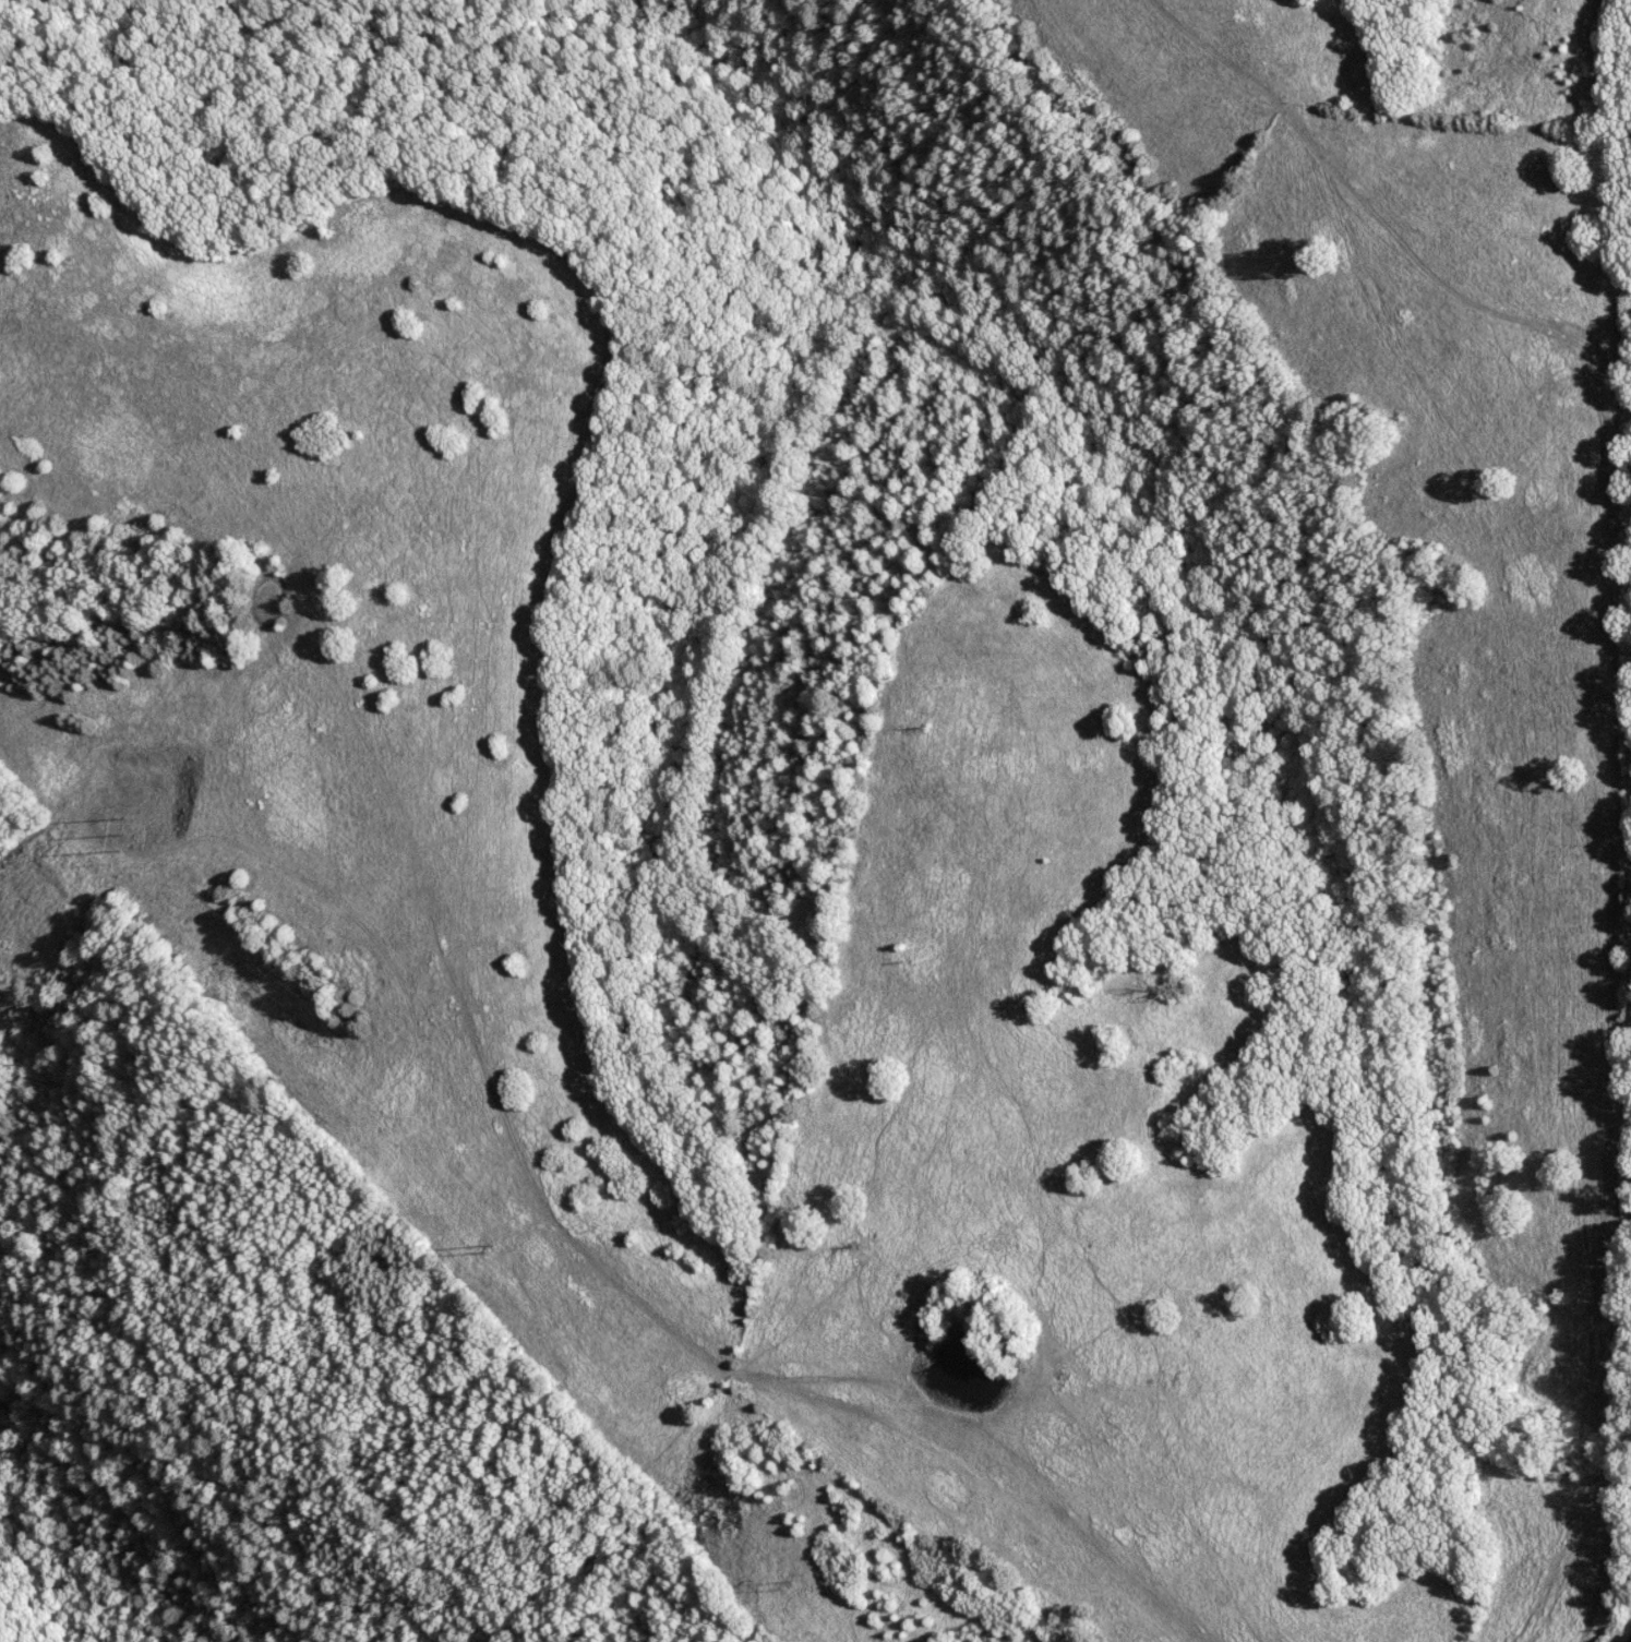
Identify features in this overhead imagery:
power tower: (121, 835)
power tower: (491, 1251)
power tower: (791, 1590)

